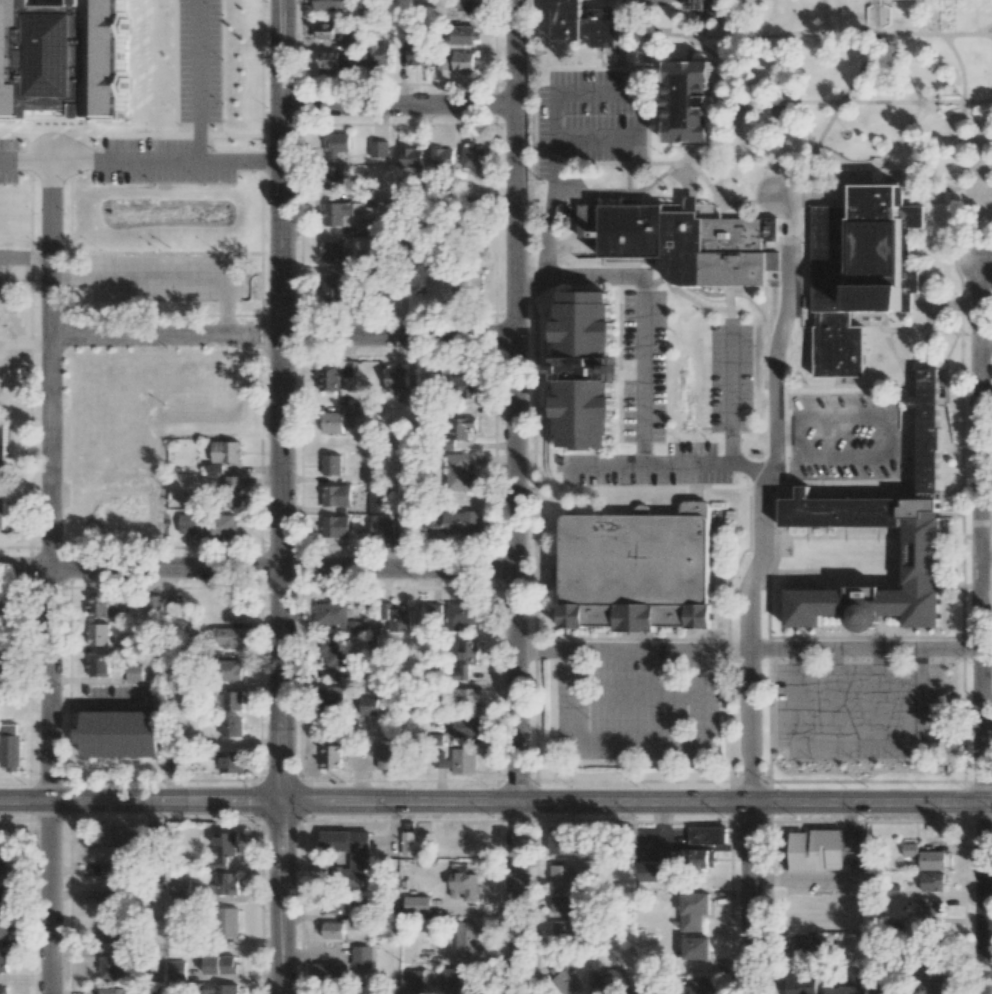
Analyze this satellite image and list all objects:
parking lot: (663, 2)
building: (879, 2)
building: (697, 4)
building: (334, 5)
building: (469, 7)
road: (727, 9)
road: (827, 17)
road: (702, 19)
building: (587, 24)
building: (332, 29)
parking lot: (989, 30)
road: (625, 33)
road: (672, 34)
road: (858, 34)
building: (465, 35)
building: (351, 45)
road: (710, 48)
road: (693, 50)
building: (416, 54)
building: (379, 55)
road: (601, 58)
building: (60, 61)
building: (341, 61)
building: (442, 61)
building: (464, 63)
road: (602, 68)
road: (902, 68)
parking lot: (200, 73)
road: (740, 87)
road: (560, 94)
road: (853, 102)
building: (693, 103)
road: (400, 107)
road: (198, 112)
road: (725, 112)
road: (652, 117)
parking lot: (593, 118)
road: (622, 140)
building: (337, 144)
building: (379, 148)
road: (891, 148)
road: (963, 148)
road: (710, 154)
road: (815, 155)
building: (443, 157)
building: (412, 158)
building: (475, 159)
road: (25, 161)
road: (124, 162)
road: (603, 164)
road: (674, 172)
road: (699, 172)
road: (631, 176)
building: (334, 177)
road: (870, 182)
road: (591, 196)
building: (335, 213)
road: (553, 224)
building: (366, 227)
road: (977, 238)
building: (692, 243)
building: (336, 252)
road: (14, 258)
road: (38, 258)
parking lot: (11, 260)
road: (986, 262)
road: (586, 274)
parking lot: (166, 275)
building: (864, 275)
road: (75, 276)
road: (168, 277)
building: (420, 277)
building: (466, 282)
building: (336, 289)
road: (685, 295)
road: (768, 301)
road: (732, 305)
road: (226, 313)
road: (769, 315)
road: (873, 323)
road: (926, 330)
road: (283, 336)
road: (893, 346)
road: (986, 349)
road: (914, 363)
road: (949, 363)
parking lot: (644, 366)
building: (348, 368)
building: (587, 370)
road: (645, 377)
building: (330, 378)
building: (397, 379)
parking lot: (733, 379)
building: (466, 386)
road: (850, 386)
road: (732, 390)
road: (282, 400)
road: (946, 401)
building: (332, 422)
road: (890, 425)
building: (463, 428)
parking lot: (848, 437)
building: (929, 449)
building: (225, 451)
road: (666, 463)
building: (330, 464)
parking lot: (653, 466)
building: (214, 467)
building: (462, 472)
building: (2, 473)
road: (956, 479)
road: (808, 484)
building: (231, 491)
road: (952, 491)
building: (336, 495)
road: (518, 496)
building: (380, 500)
road: (779, 512)
road: (952, 513)
building: (844, 514)
road: (964, 521)
building: (456, 523)
building: (208, 525)
building: (382, 525)
building: (335, 526)
road: (986, 552)
building: (926, 558)
road: (258, 569)
road: (808, 571)
building: (638, 572)
road: (48, 578)
road: (753, 582)
building: (153, 603)
building: (99, 606)
building: (437, 610)
building: (807, 611)
building: (3, 613)
building: (464, 613)
building: (332, 614)
building: (397, 617)
building: (357, 628)
road: (981, 628)
building: (98, 634)
building: (228, 638)
road: (633, 653)
road: (865, 653)
building: (335, 657)
building: (467, 659)
building: (4, 663)
building: (98, 665)
building: (231, 670)
building: (133, 673)
building: (465, 695)
road: (879, 695)
road: (837, 696)
building: (333, 697)
road: (638, 697)
building: (233, 700)
parking lot: (639, 700)
building: (367, 705)
parking lot: (860, 712)
building: (230, 726)
building: (465, 728)
building: (120, 734)
road: (857, 738)
road: (636, 740)
building: (9, 747)
building: (386, 756)
building: (332, 757)
building: (464, 761)
building: (229, 762)
building: (443, 762)
building: (171, 764)
traffic signals: (280, 801)
road: (140, 802)
road: (635, 804)
building: (116, 834)
building: (706, 835)
building: (4, 840)
building: (561, 840)
building: (345, 841)
building: (409, 843)
building: (222, 850)
building: (816, 850)
building: (924, 857)
building: (699, 858)
building: (591, 865)
building: (3, 866)
building: (360, 868)
building: (107, 870)
building: (649, 872)
building: (563, 877)
building: (463, 882)
building: (932, 882)
building: (225, 883)
building: (180, 889)
road: (281, 897)
building: (3, 899)
building: (113, 899)
building: (337, 903)
building: (560, 903)
building: (416, 905)
building: (928, 908)
building: (330, 909)
building: (693, 910)
building: (227, 922)
building: (4, 928)
building: (563, 929)
building: (333, 930)
building: (109, 931)
building: (466, 938)
building: (807, 943)
building: (696, 948)
building: (362, 958)
building: (3, 962)
building: (220, 965)
building: (108, 968)
building: (176, 970)
building: (330, 971)
building: (930, 977)
building: (857, 978)
building: (414, 979)
building: (564, 979)
building: (454, 980)
building: (609, 981)
building: (800, 983)
building: (877, 986)
building: (695, 987)
building: (225, 989)
building: (3, 991)
building: (120, 991)
building: (328, 992)

